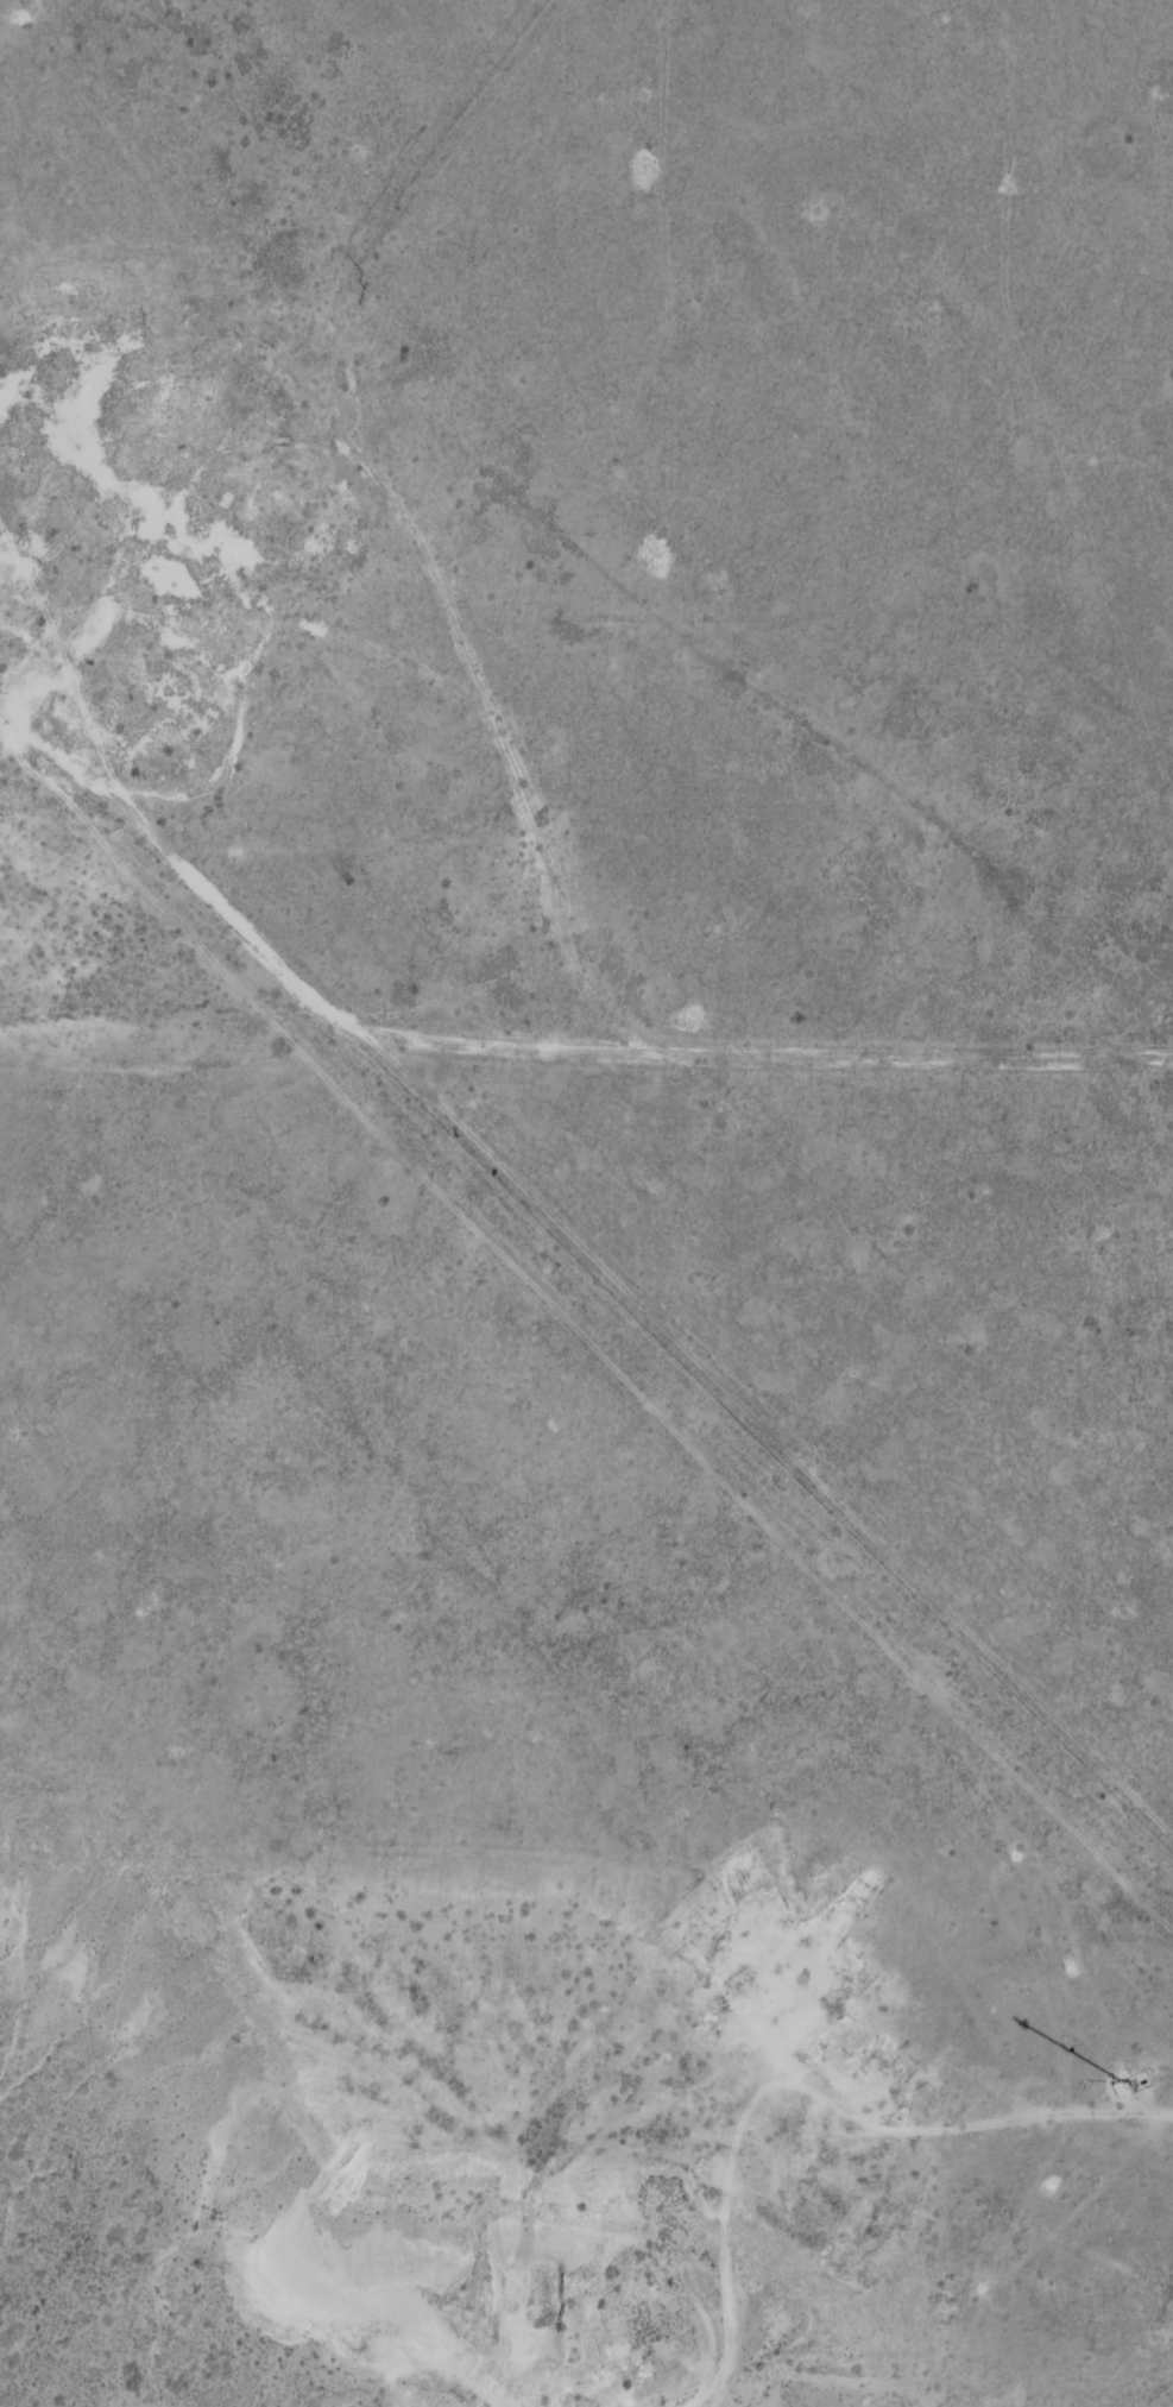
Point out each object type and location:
road: (1156, 2109)

